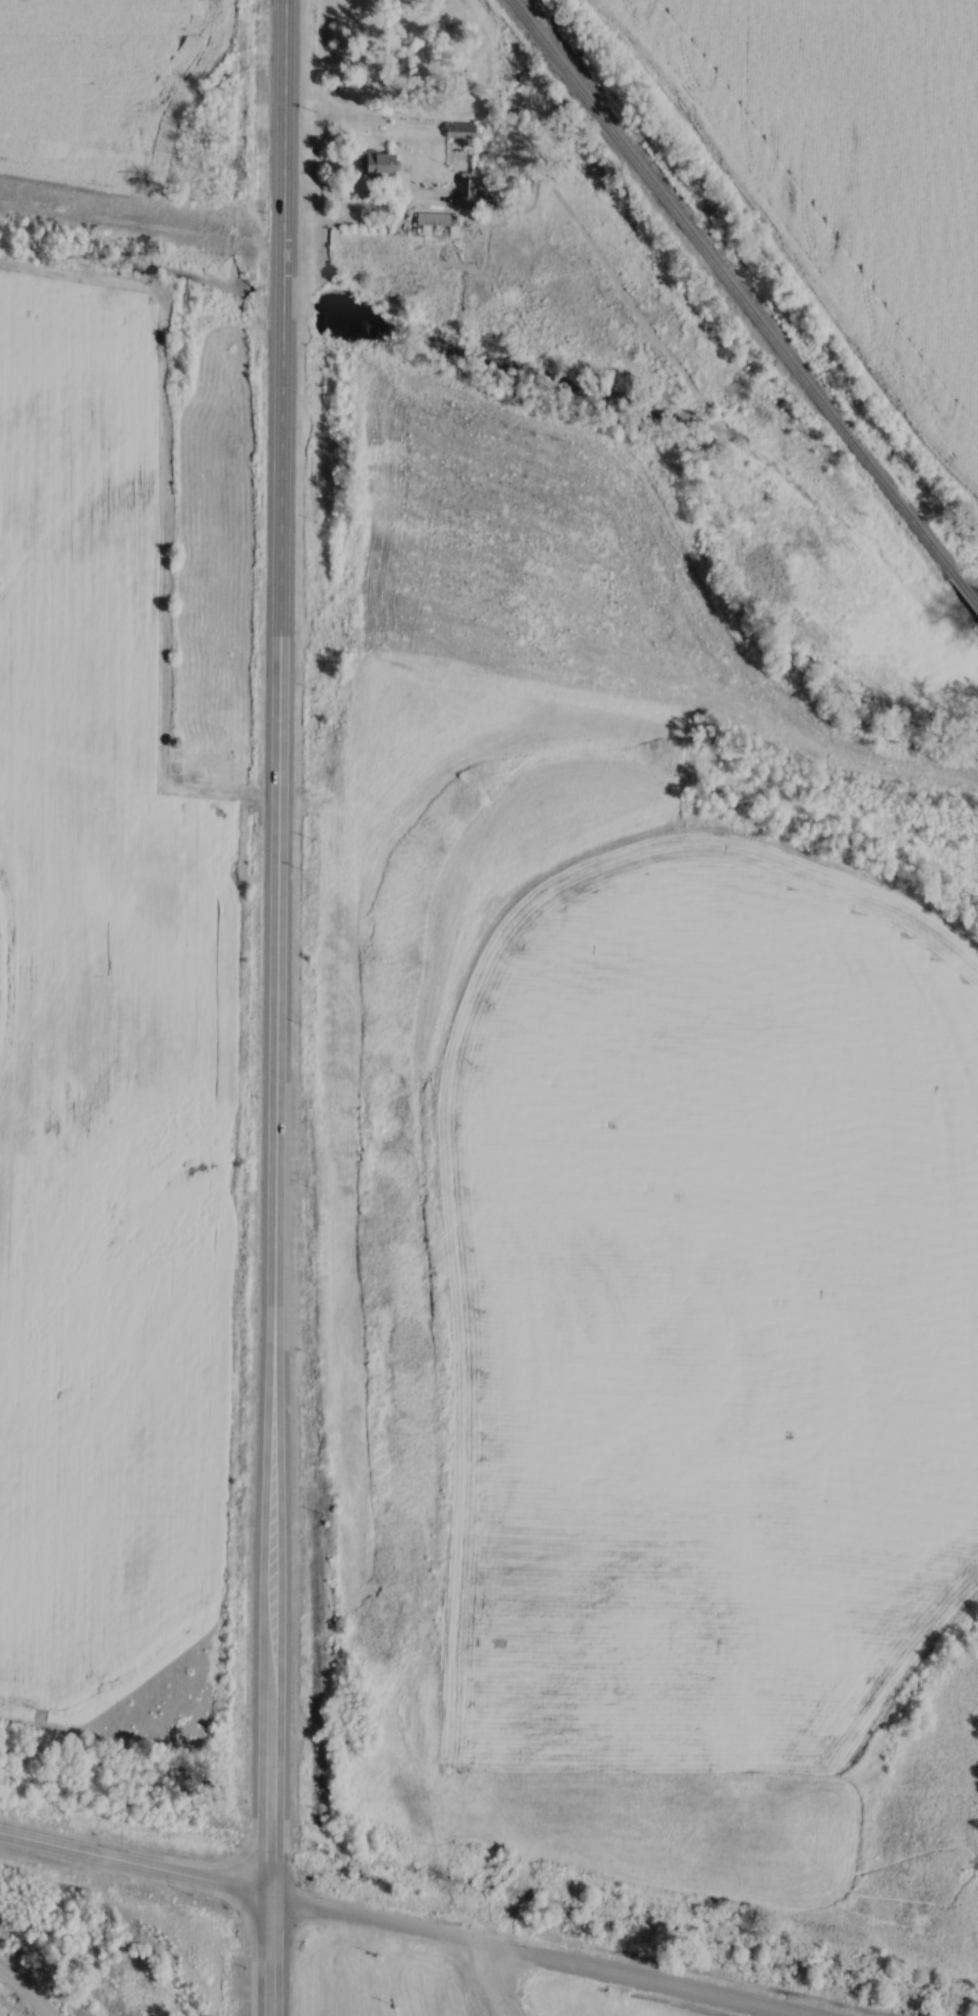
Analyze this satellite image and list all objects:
road: (277, 54)
building: (463, 131)
building: (390, 165)
road: (353, 193)
building: (471, 193)
building: (439, 226)
railway: (744, 304)
road: (267, 1062)
road: (134, 1862)
road: (405, 1925)
road: (493, 1978)
road: (679, 1983)
road: (25, 1989)

